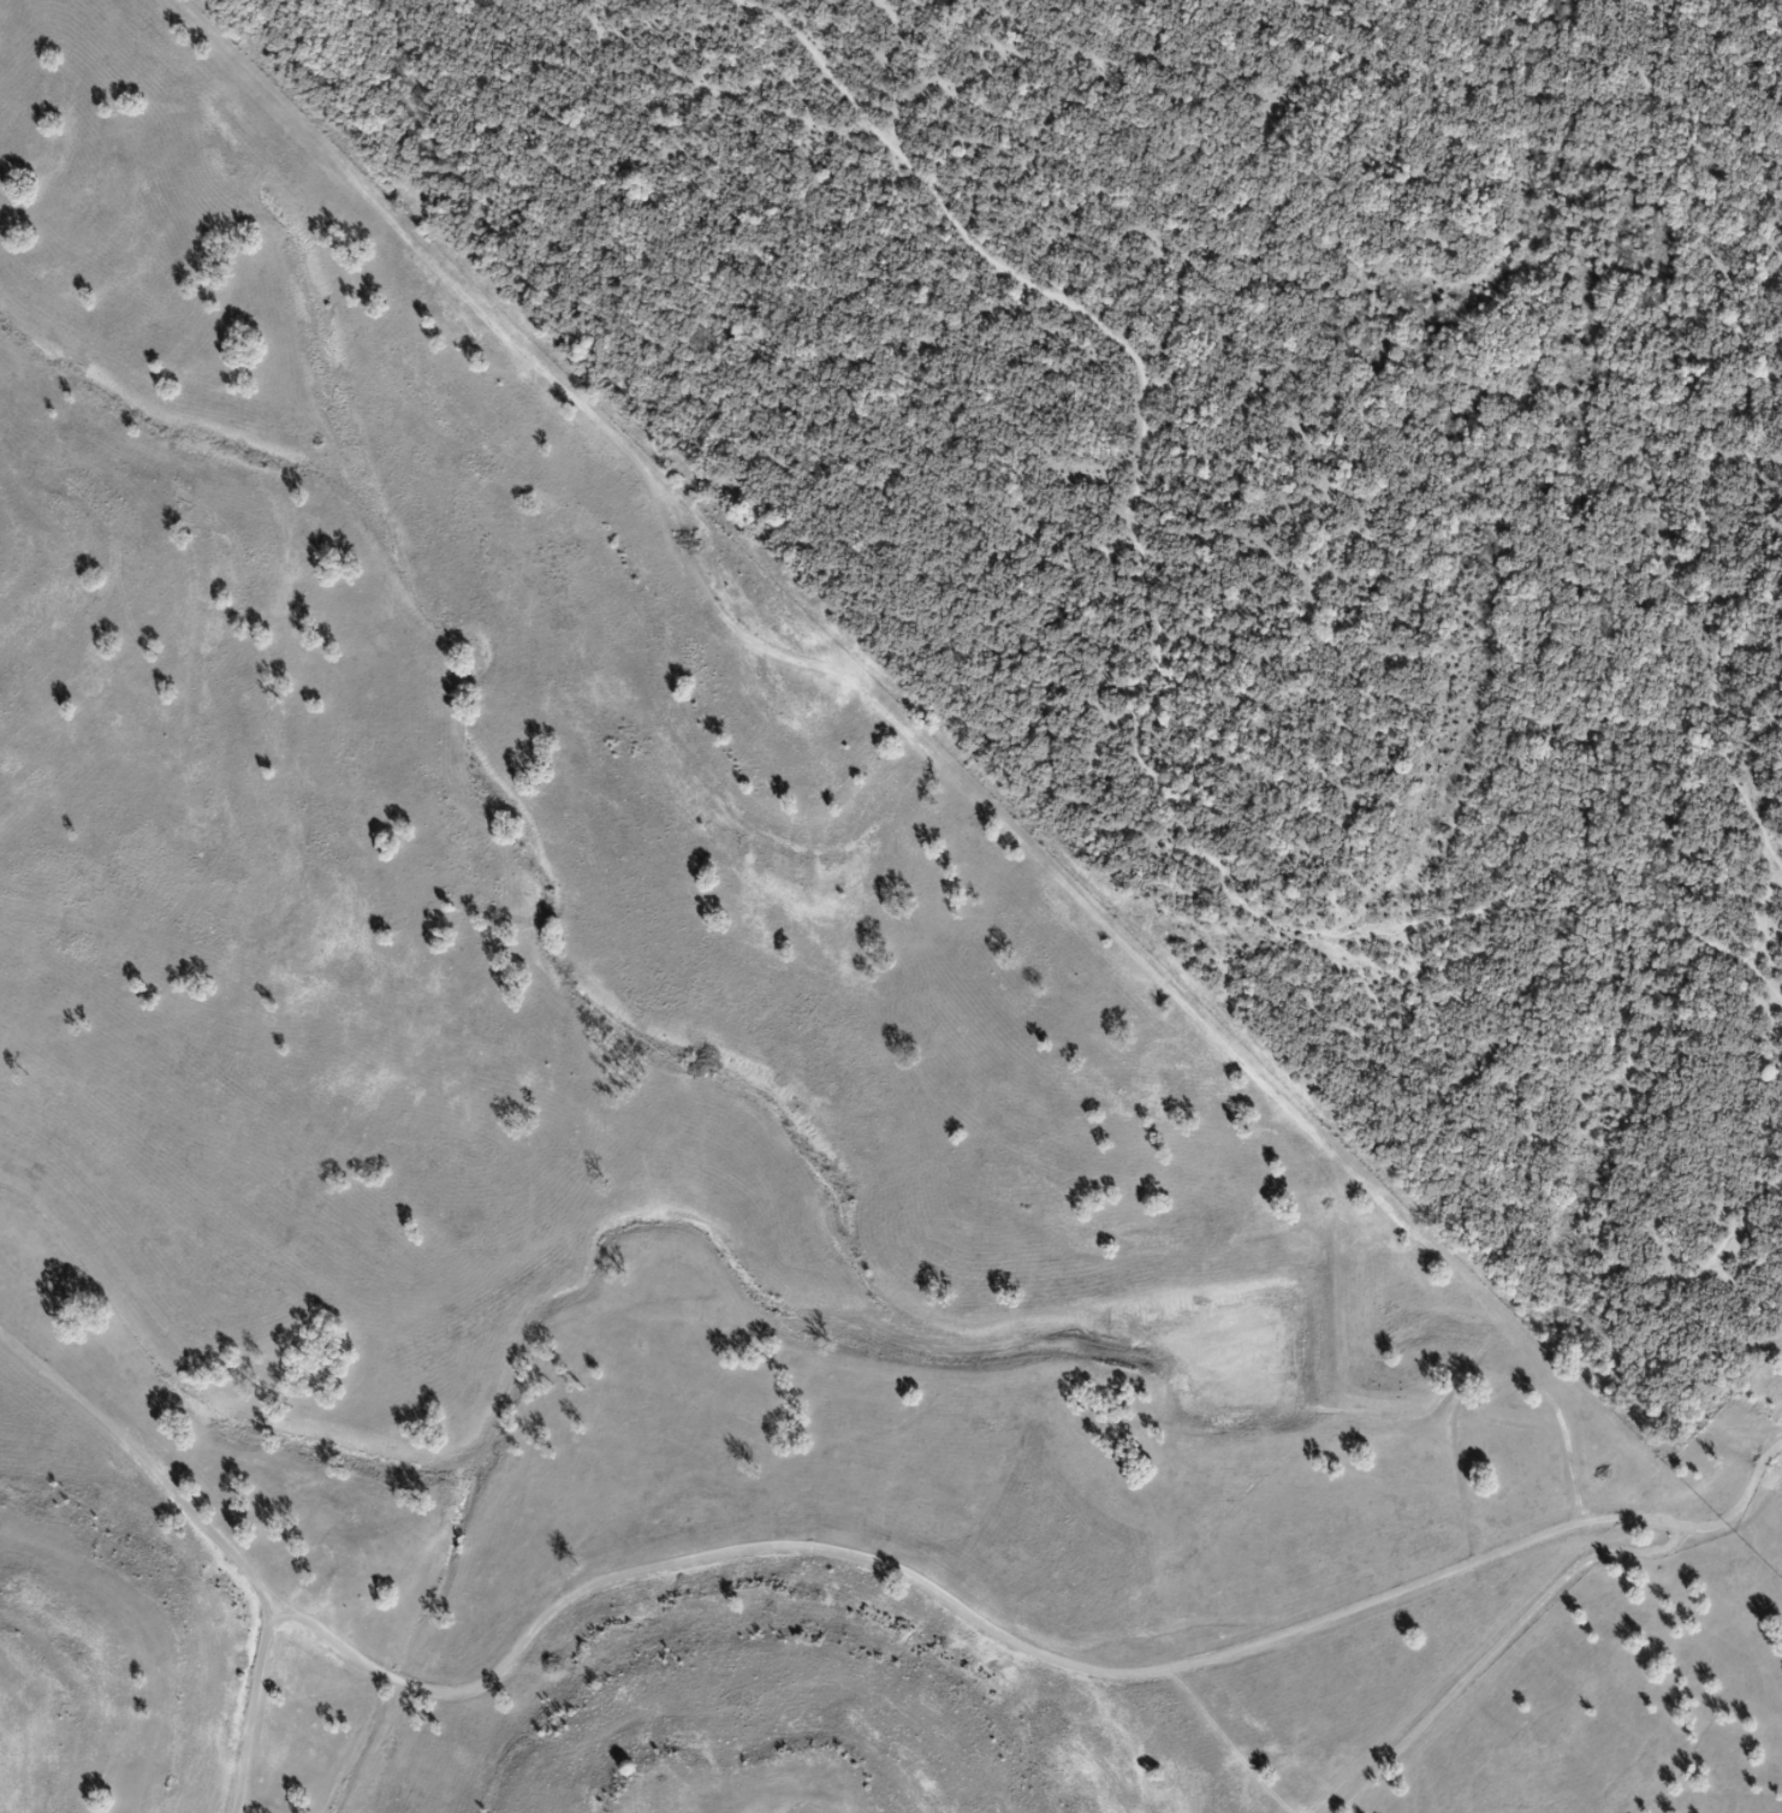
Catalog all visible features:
park: (1254, 509)
road: (1764, 1471)

